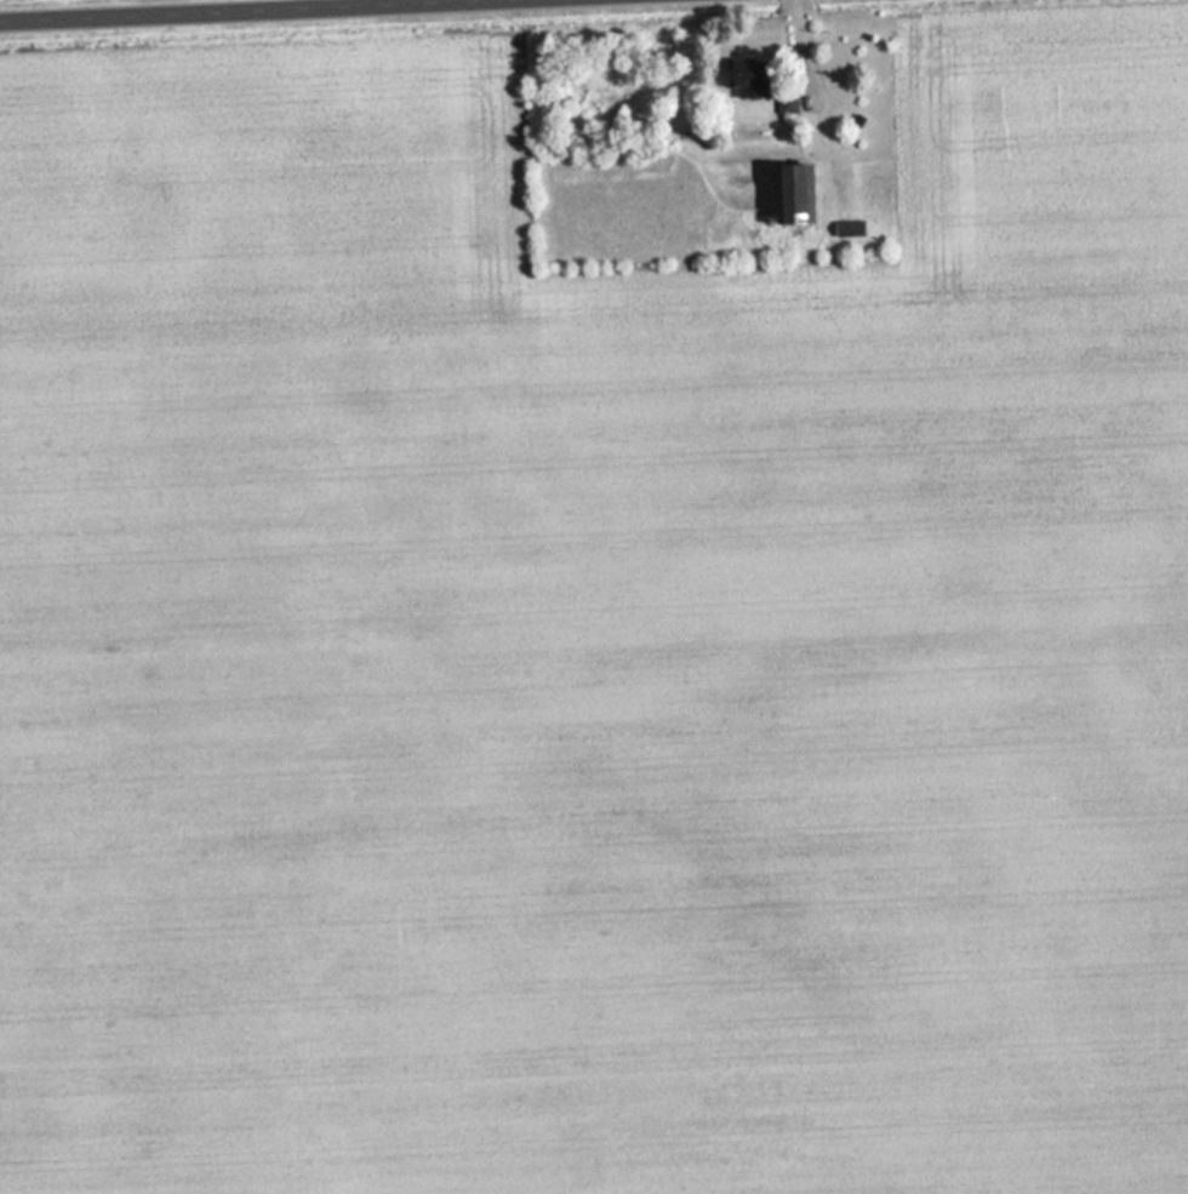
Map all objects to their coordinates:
road: (242, 10)
building: (737, 72)
building: (788, 192)
building: (846, 228)

